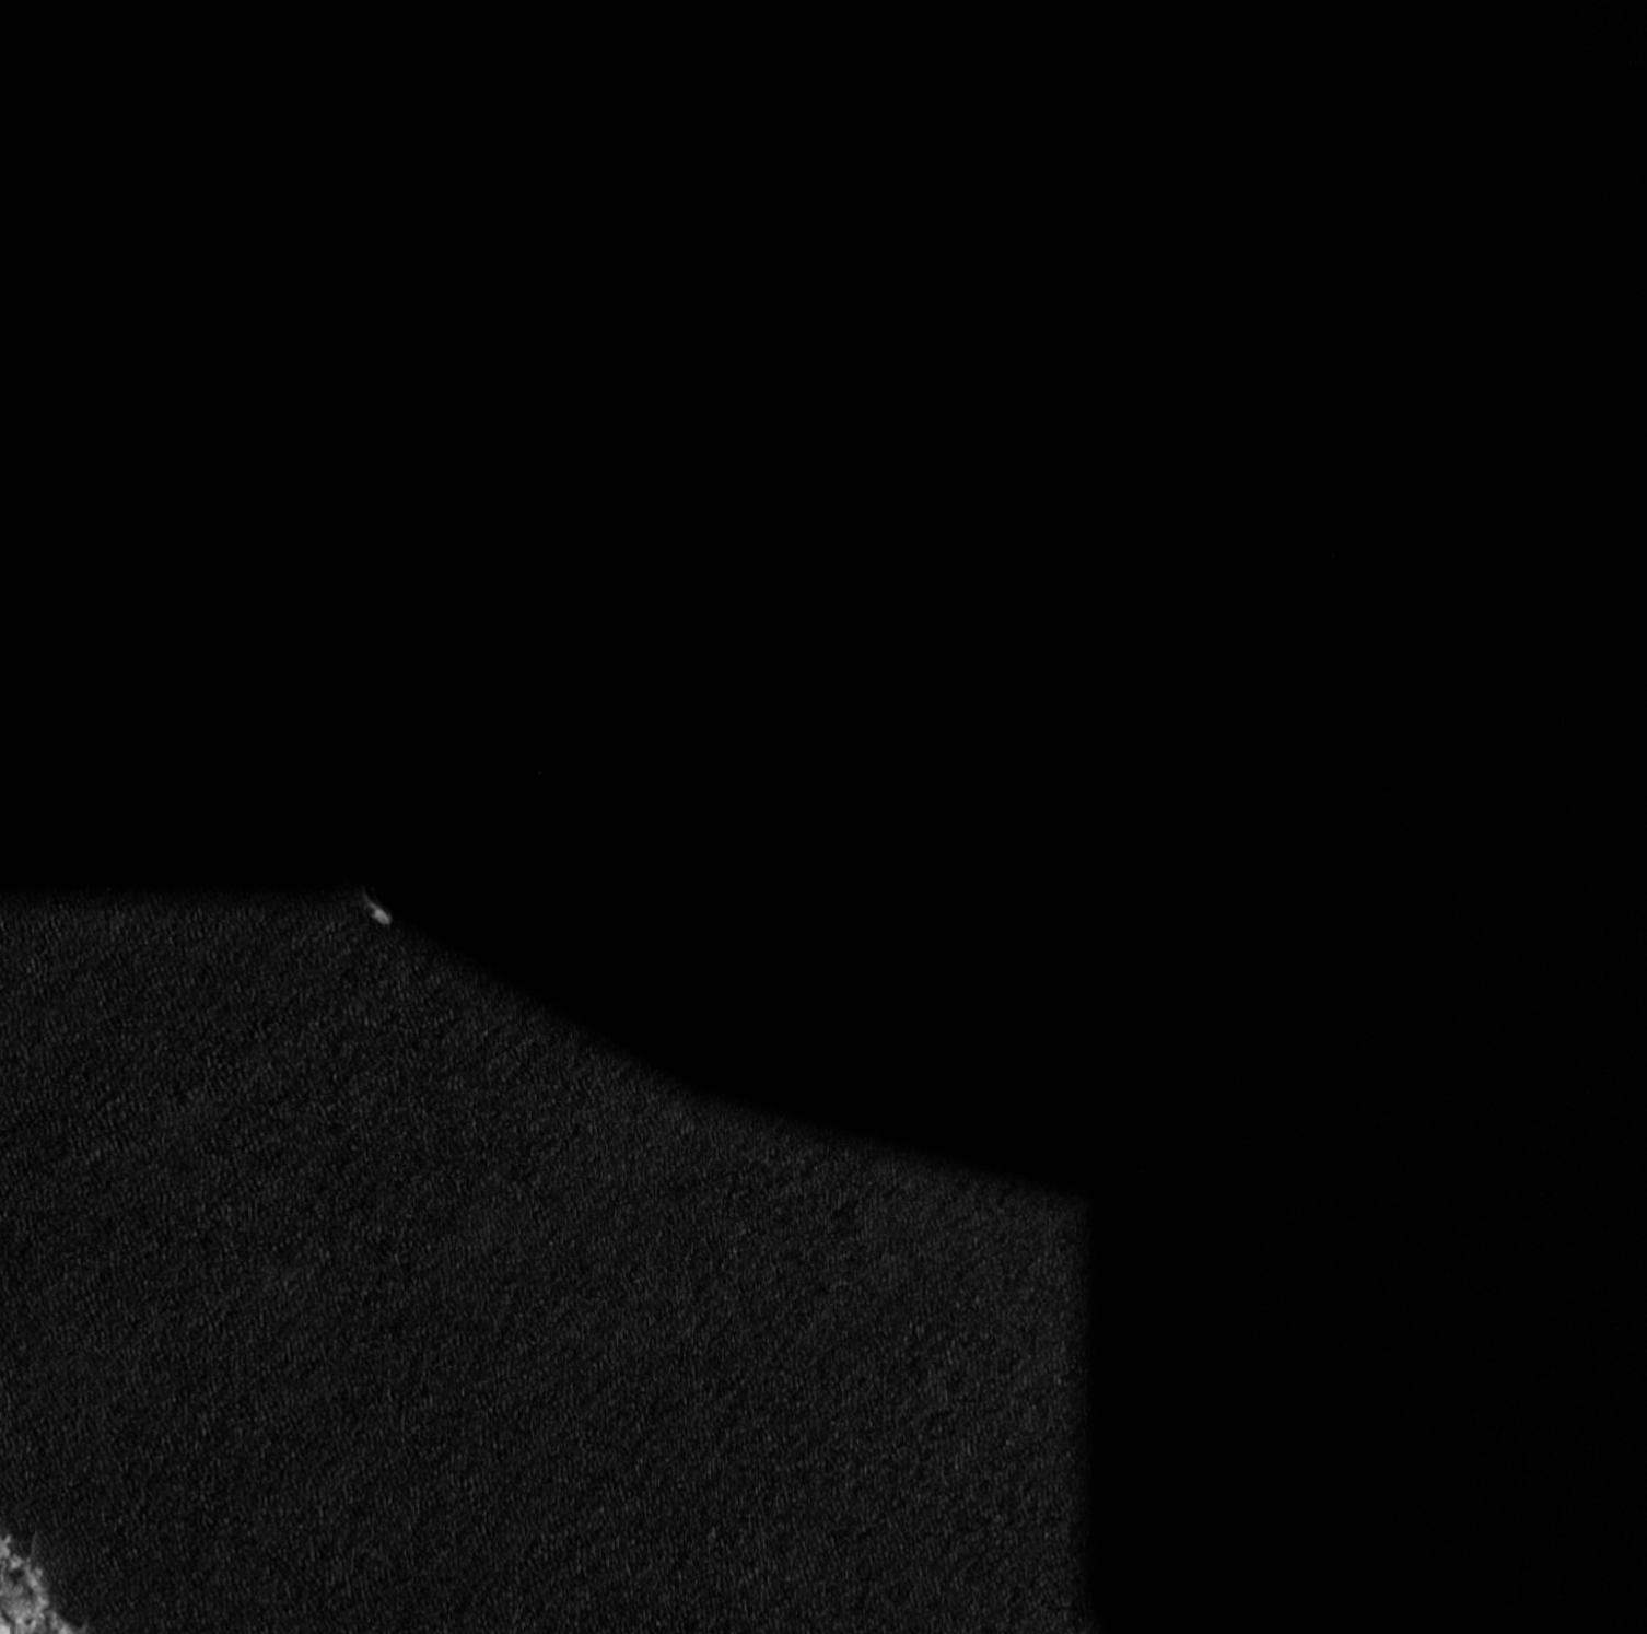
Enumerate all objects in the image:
park: (51, 1572)

